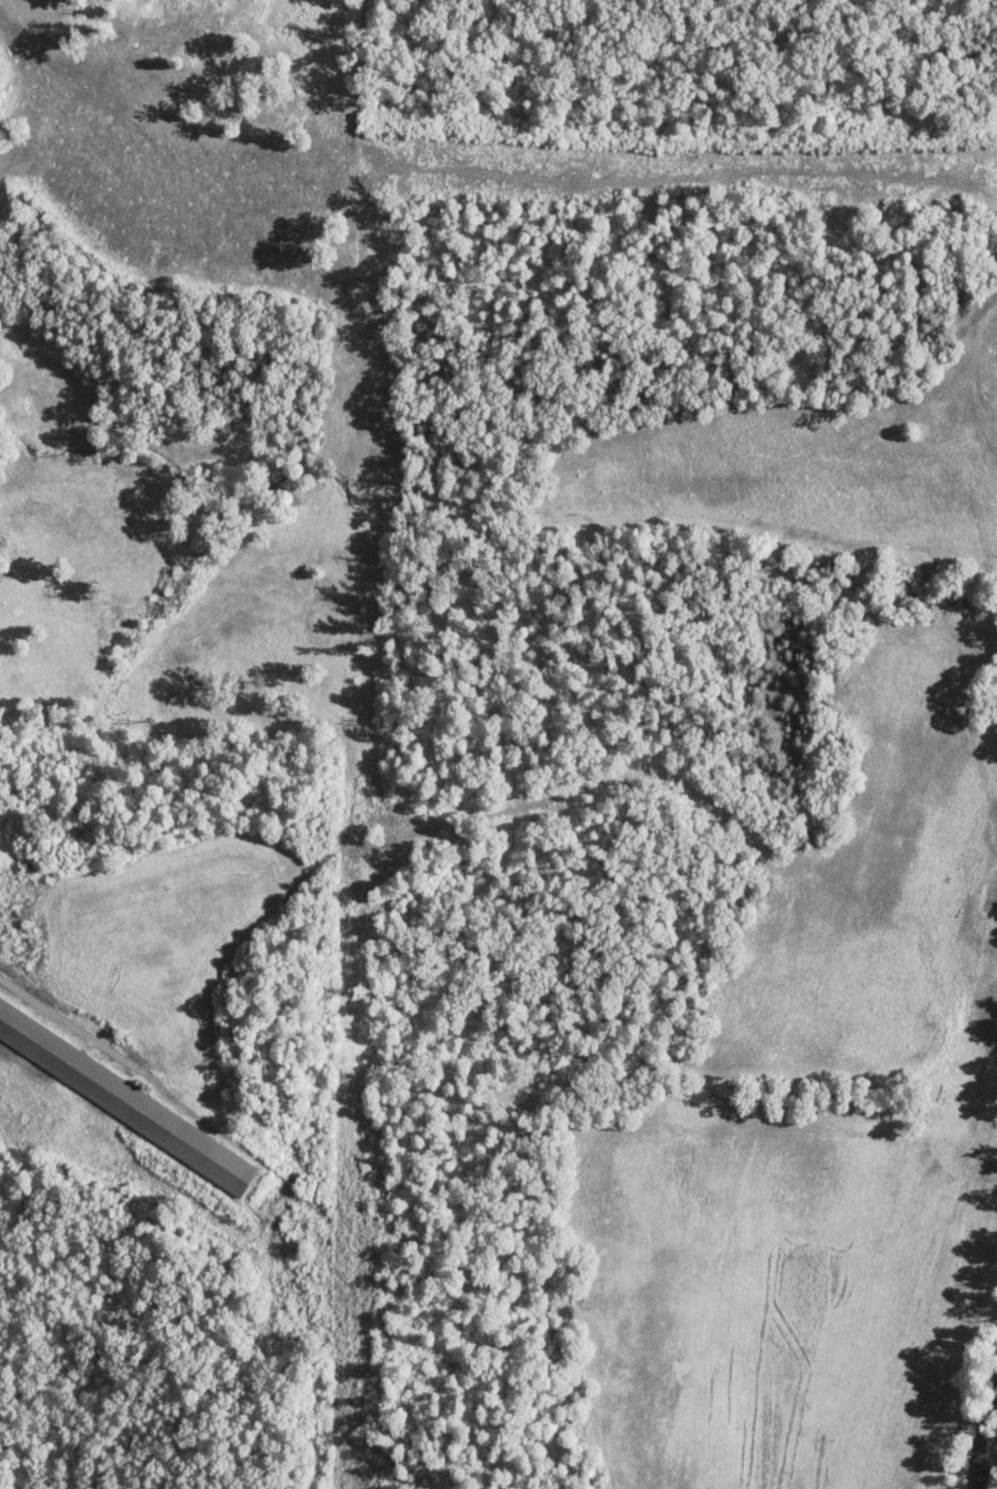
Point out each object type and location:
building: (1, 914)
road: (50, 1014)
building: (127, 1099)

